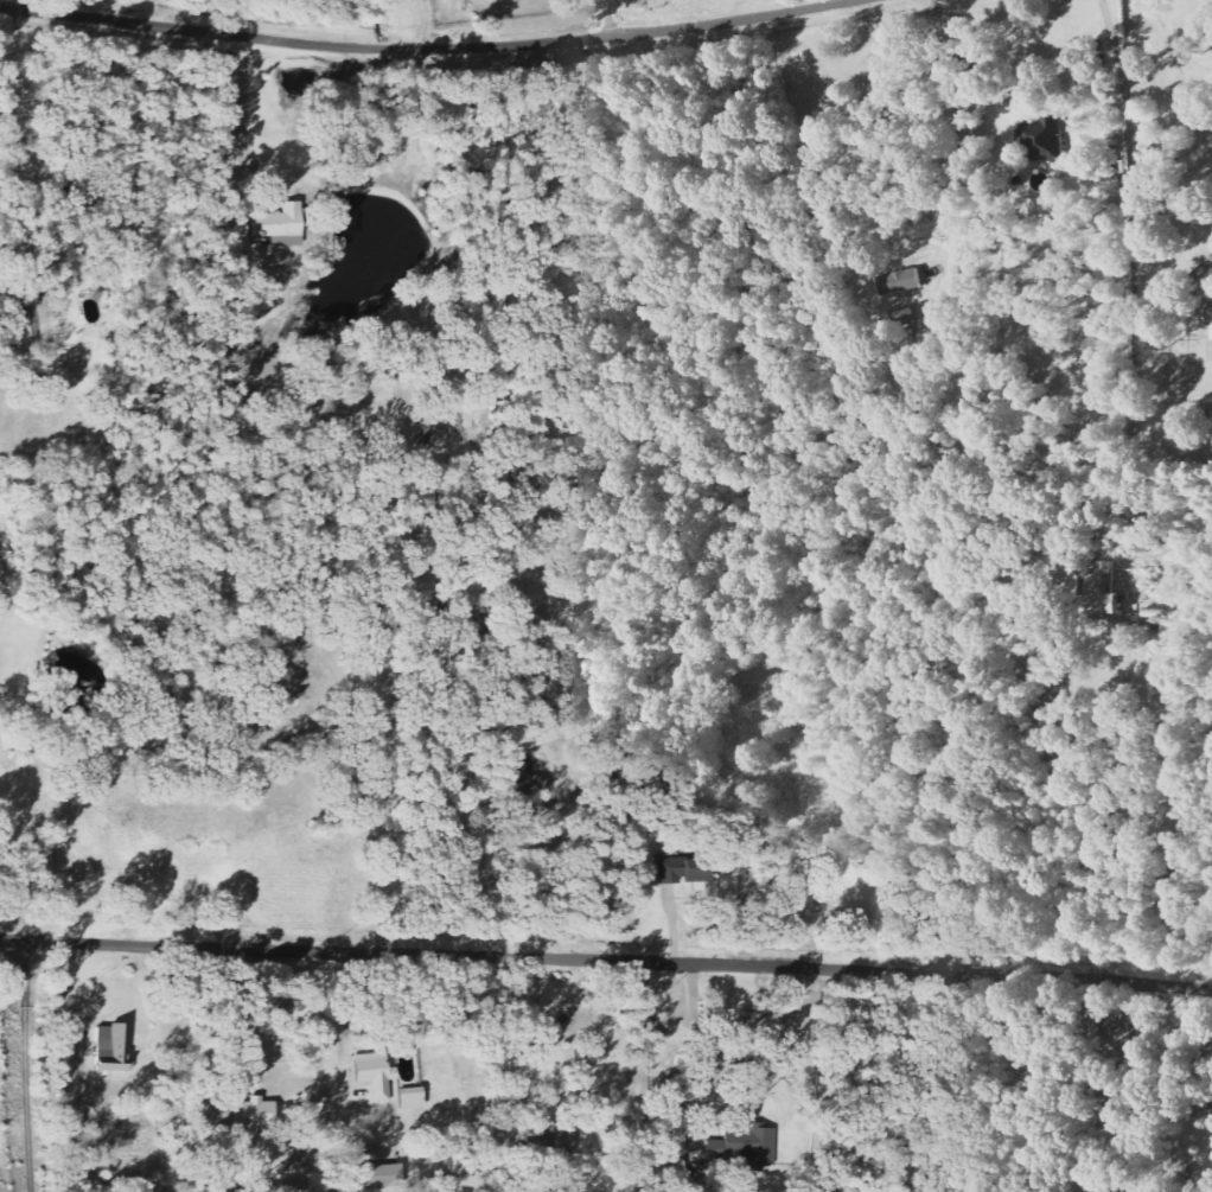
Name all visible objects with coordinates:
road: (427, 46)
road: (1122, 69)
road: (1184, 72)
road: (241, 119)
building: (1042, 139)
road: (950, 151)
building: (281, 225)
building: (108, 230)
building: (899, 282)
building: (1211, 323)
building: (1096, 336)
building: (1102, 604)
building: (684, 871)
road: (606, 950)
building: (372, 1075)
building: (407, 1098)
building: (256, 1113)
building: (543, 1143)
building: (746, 1146)
building: (385, 1175)
building: (516, 1179)
building: (1182, 1184)

